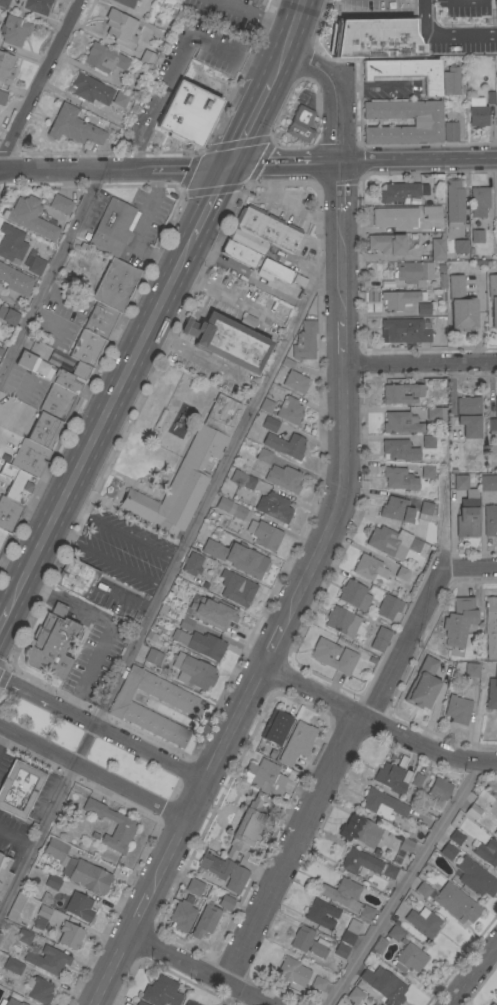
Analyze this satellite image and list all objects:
building: (125, 2)
building: (3, 3)
building: (35, 5)
road: (256, 13)
building: (495, 15)
building: (120, 27)
building: (13, 29)
road: (443, 34)
building: (375, 37)
road: (289, 39)
building: (146, 57)
building: (104, 58)
building: (5, 67)
building: (405, 71)
road: (170, 79)
building: (452, 79)
road: (40, 81)
building: (89, 88)
building: (2, 96)
building: (120, 98)
building: (478, 111)
building: (187, 114)
road: (250, 122)
building: (426, 122)
building: (300, 123)
building: (72, 125)
building: (450, 130)
road: (248, 166)
traffic signals: (228, 167)
building: (397, 191)
building: (479, 200)
building: (454, 202)
building: (60, 203)
road: (210, 203)
road: (289, 205)
building: (430, 211)
building: (31, 217)
building: (394, 217)
parking lot: (145, 226)
building: (267, 227)
building: (113, 229)
road: (139, 229)
building: (477, 235)
building: (247, 239)
building: (386, 242)
building: (11, 243)
building: (460, 245)
building: (437, 247)
building: (496, 250)
building: (239, 252)
building: (36, 265)
building: (273, 270)
road: (51, 272)
building: (413, 272)
building: (15, 279)
building: (299, 280)
building: (110, 297)
building: (398, 298)
building: (493, 298)
building: (460, 305)
building: (423, 308)
building: (8, 315)
building: (405, 329)
building: (304, 340)
building: (229, 343)
building: (87, 347)
road: (195, 355)
road: (420, 363)
building: (80, 370)
building: (50, 372)
building: (295, 381)
building: (401, 392)
building: (58, 402)
building: (266, 405)
building: (496, 406)
building: (289, 410)
building: (436, 412)
building: (468, 415)
building: (401, 421)
road: (100, 423)
building: (269, 423)
building: (490, 427)
building: (44, 429)
building: (428, 440)
building: (285, 444)
building: (399, 449)
building: (263, 455)
building: (29, 457)
building: (187, 470)
building: (427, 471)
building: (283, 477)
building: (399, 478)
building: (241, 479)
building: (459, 481)
building: (487, 482)
building: (19, 486)
building: (274, 506)
building: (232, 508)
building: (396, 509)
building: (426, 511)
building: (9, 514)
building: (467, 514)
building: (489, 519)
road: (116, 531)
building: (265, 534)
building: (3, 537)
road: (325, 540)
building: (395, 542)
road: (103, 556)
building: (237, 557)
building: (192, 562)
road: (468, 566)
building: (369, 567)
road: (165, 569)
building: (401, 572)
building: (75, 576)
building: (235, 589)
building: (354, 594)
building: (388, 606)
building: (211, 610)
road: (5, 618)
building: (458, 620)
building: (344, 621)
building: (186, 622)
building: (490, 626)
building: (380, 638)
building: (49, 642)
building: (200, 643)
road: (405, 648)
building: (152, 655)
building: (333, 655)
road: (4, 662)
building: (470, 668)
building: (193, 670)
road: (4, 673)
building: (422, 683)
building: (491, 691)
street lamp: (53, 693)
building: (128, 708)
building: (457, 708)
road: (99, 710)
park: (38, 721)
street lamp: (113, 723)
road: (375, 725)
building: (275, 726)
road: (2, 727)
road: (102, 730)
road: (2, 733)
building: (297, 742)
street lamp: (24, 750)
street lamp: (180, 757)
park: (132, 768)
road: (95, 774)
building: (391, 775)
building: (264, 776)
street lamp: (85, 781)
road: (79, 782)
building: (19, 786)
road: (174, 789)
building: (437, 793)
building: (382, 803)
building: (472, 810)
street lamp: (151, 814)
building: (124, 825)
building: (246, 826)
building: (365, 831)
building: (495, 831)
building: (456, 836)
road: (16, 840)
building: (406, 844)
building: (55, 848)
road: (290, 850)
building: (447, 850)
building: (487, 851)
building: (366, 864)
building: (223, 871)
building: (4, 873)
building: (86, 875)
building: (474, 876)
building: (52, 881)
road: (402, 882)
building: (194, 885)
building: (422, 888)
building: (342, 892)
building: (410, 898)
building: (226, 901)
building: (455, 902)
building: (15, 905)
building: (78, 905)
building: (366, 912)
building: (182, 913)
building: (321, 913)
building: (41, 916)
building: (205, 919)
building: (423, 921)
building: (350, 931)
building: (394, 931)
building: (69, 934)
building: (24, 936)
building: (308, 941)
building: (379, 944)
building: (340, 949)
building: (409, 958)
building: (48, 959)
building: (13, 965)
road: (197, 970)
building: (292, 970)
road: (470, 972)
building: (318, 982)
building: (383, 984)
building: (38, 989)
building: (160, 992)
building: (357, 995)
building: (496, 996)
building: (12, 999)
building: (190, 1003)
building: (492, 1003)
building: (134, 1004)
building: (370, 1004)
building: (373, 1004)

